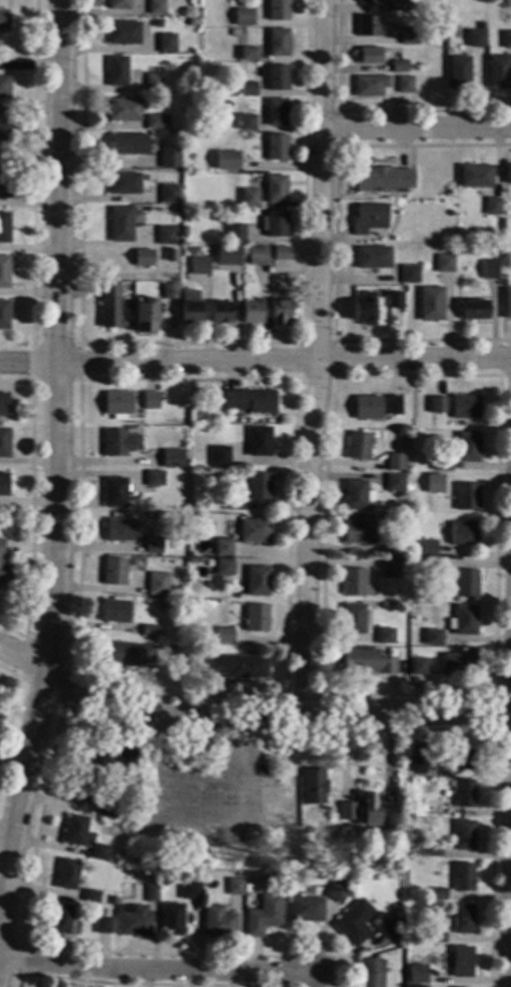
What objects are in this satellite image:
building: (368, 1)
building: (118, 4)
building: (399, 5)
building: (438, 6)
building: (156, 7)
building: (277, 9)
building: (243, 16)
building: (3, 21)
building: (367, 25)
building: (233, 32)
building: (122, 33)
building: (409, 35)
building: (476, 38)
building: (506, 39)
building: (167, 42)
building: (278, 42)
building: (248, 53)
building: (368, 55)
building: (399, 65)
building: (116, 70)
building: (498, 71)
building: (458, 72)
building: (276, 77)
building: (154, 82)
building: (370, 84)
building: (404, 84)
building: (4, 86)
building: (248, 88)
building: (122, 109)
building: (276, 111)
building: (155, 120)
building: (246, 121)
road: (416, 128)
building: (3, 131)
building: (128, 143)
building: (276, 146)
building: (168, 157)
building: (227, 160)
building: (194, 165)
building: (508, 173)
building: (475, 176)
building: (382, 179)
building: (4, 181)
building: (124, 183)
building: (275, 188)
building: (168, 193)
building: (249, 197)
building: (491, 205)
building: (174, 208)
building: (369, 218)
building: (120, 223)
building: (274, 223)
building: (4, 227)
building: (235, 232)
building: (166, 235)
building: (189, 250)
building: (280, 253)
building: (171, 254)
building: (257, 254)
building: (227, 255)
building: (142, 257)
building: (372, 257)
building: (170, 262)
building: (444, 262)
building: (198, 265)
building: (489, 269)
building: (5, 271)
building: (409, 273)
building: (169, 291)
building: (395, 299)
building: (431, 303)
building: (507, 303)
building: (109, 305)
building: (190, 306)
building: (364, 309)
building: (474, 309)
building: (252, 311)
building: (280, 311)
building: (220, 313)
building: (4, 314)
building: (145, 315)
road: (318, 357)
road: (255, 359)
building: (150, 400)
building: (249, 400)
building: (3, 404)
building: (117, 404)
building: (437, 404)
building: (375, 406)
building: (464, 406)
building: (258, 440)
building: (116, 442)
building: (4, 443)
building: (357, 445)
building: (467, 446)
road: (56, 456)
building: (219, 456)
building: (172, 458)
building: (395, 461)
building: (442, 461)
building: (154, 478)
building: (438, 481)
building: (394, 482)
building: (3, 483)
building: (258, 486)
building: (406, 486)
building: (115, 491)
building: (356, 495)
building: (466, 496)
building: (234, 503)
building: (119, 529)
building: (254, 531)
building: (358, 532)
building: (462, 533)
building: (153, 545)
building: (222, 547)
building: (397, 549)
building: (429, 550)
building: (403, 564)
building: (2, 565)
building: (223, 567)
building: (434, 568)
building: (390, 569)
building: (113, 571)
building: (254, 581)
building: (353, 581)
building: (465, 582)
building: (157, 583)
building: (372, 584)
building: (367, 592)
building: (115, 610)
building: (256, 617)
building: (352, 618)
building: (463, 620)
building: (149, 630)
road: (12, 631)
building: (223, 635)
building: (384, 635)
building: (433, 637)
building: (155, 651)
building: (125, 654)
building: (366, 661)
building: (457, 664)
building: (239, 666)
building: (417, 666)
road: (10, 672)
building: (333, 673)
road: (62, 702)
road: (247, 715)
building: (108, 754)
building: (459, 759)
building: (417, 763)
road: (198, 784)
building: (82, 786)
building: (464, 793)
building: (300, 806)
building: (377, 806)
building: (107, 808)
building: (346, 813)
road: (228, 826)
building: (73, 829)
building: (463, 834)
road: (4, 838)
building: (138, 842)
building: (431, 847)
building: (99, 852)
building: (200, 856)
building: (66, 874)
building: (462, 877)
building: (234, 887)
building: (246, 888)
building: (189, 890)
building: (336, 891)
building: (151, 892)
building: (437, 894)
building: (90, 896)
building: (111, 900)
building: (305, 909)
building: (263, 915)
building: (462, 918)
building: (60, 919)
building: (170, 919)
building: (133, 920)
building: (217, 922)
building: (354, 922)
building: (384, 924)
building: (102, 925)
building: (436, 934)
building: (461, 961)
road: (157, 973)
building: (371, 973)
building: (416, 973)

